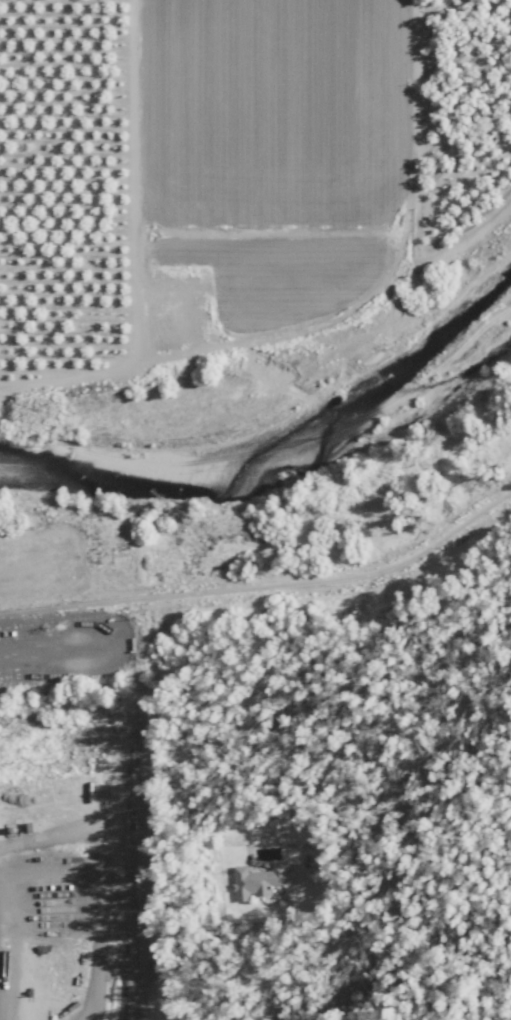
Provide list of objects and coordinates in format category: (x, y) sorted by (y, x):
crop: (232, 167)
road: (132, 180)
river: (279, 430)
road: (266, 585)
building: (258, 879)
road: (256, 979)

